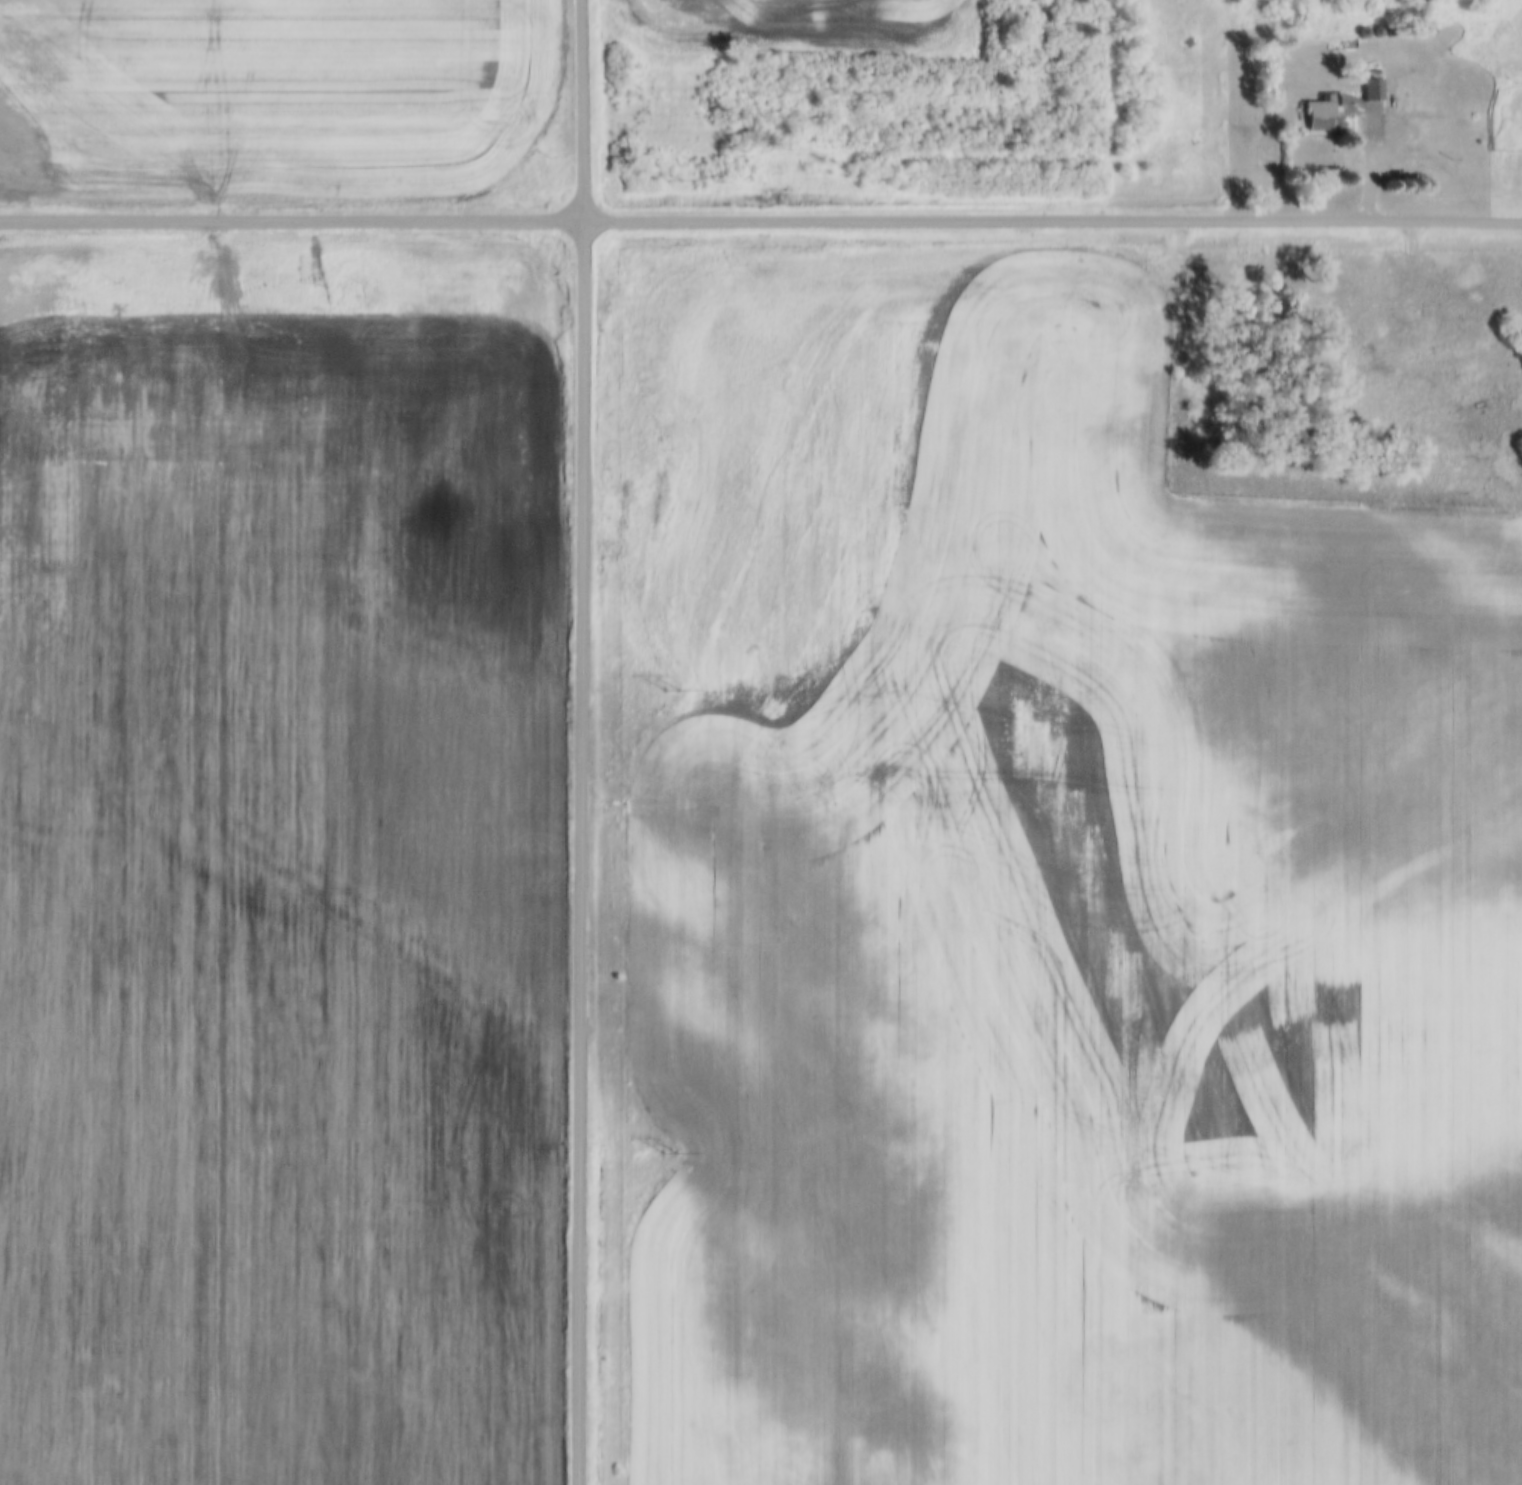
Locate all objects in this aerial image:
building: (1485, 76)
building: (1372, 91)
building: (1319, 118)
road: (1378, 164)
power tower: (671, 181)
road: (761, 220)
power tower: (667, 693)
road: (580, 742)
power tower: (668, 1154)

